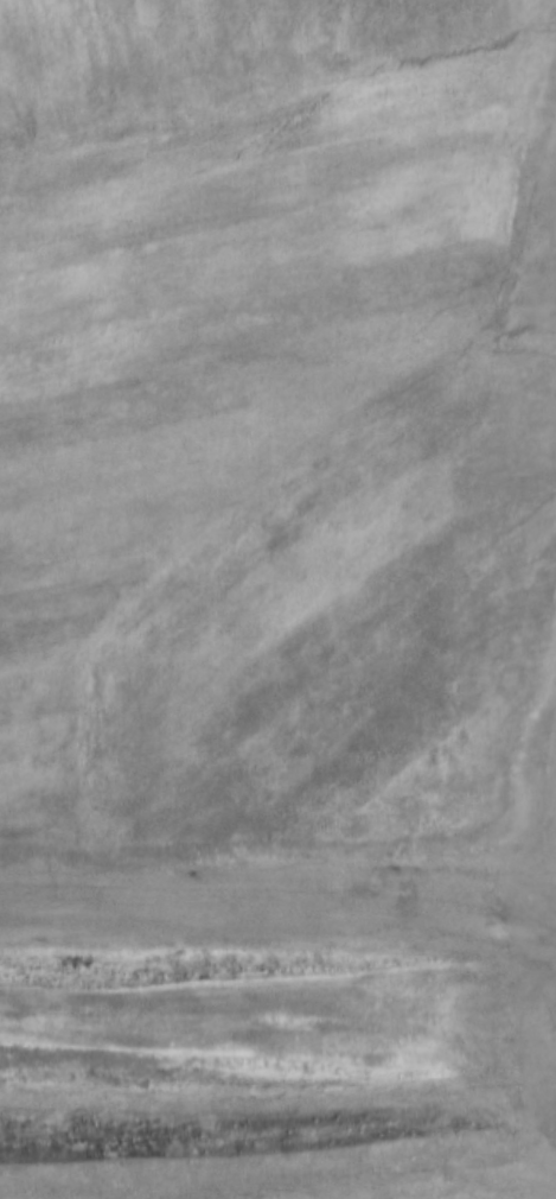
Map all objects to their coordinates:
road: (279, 908)

